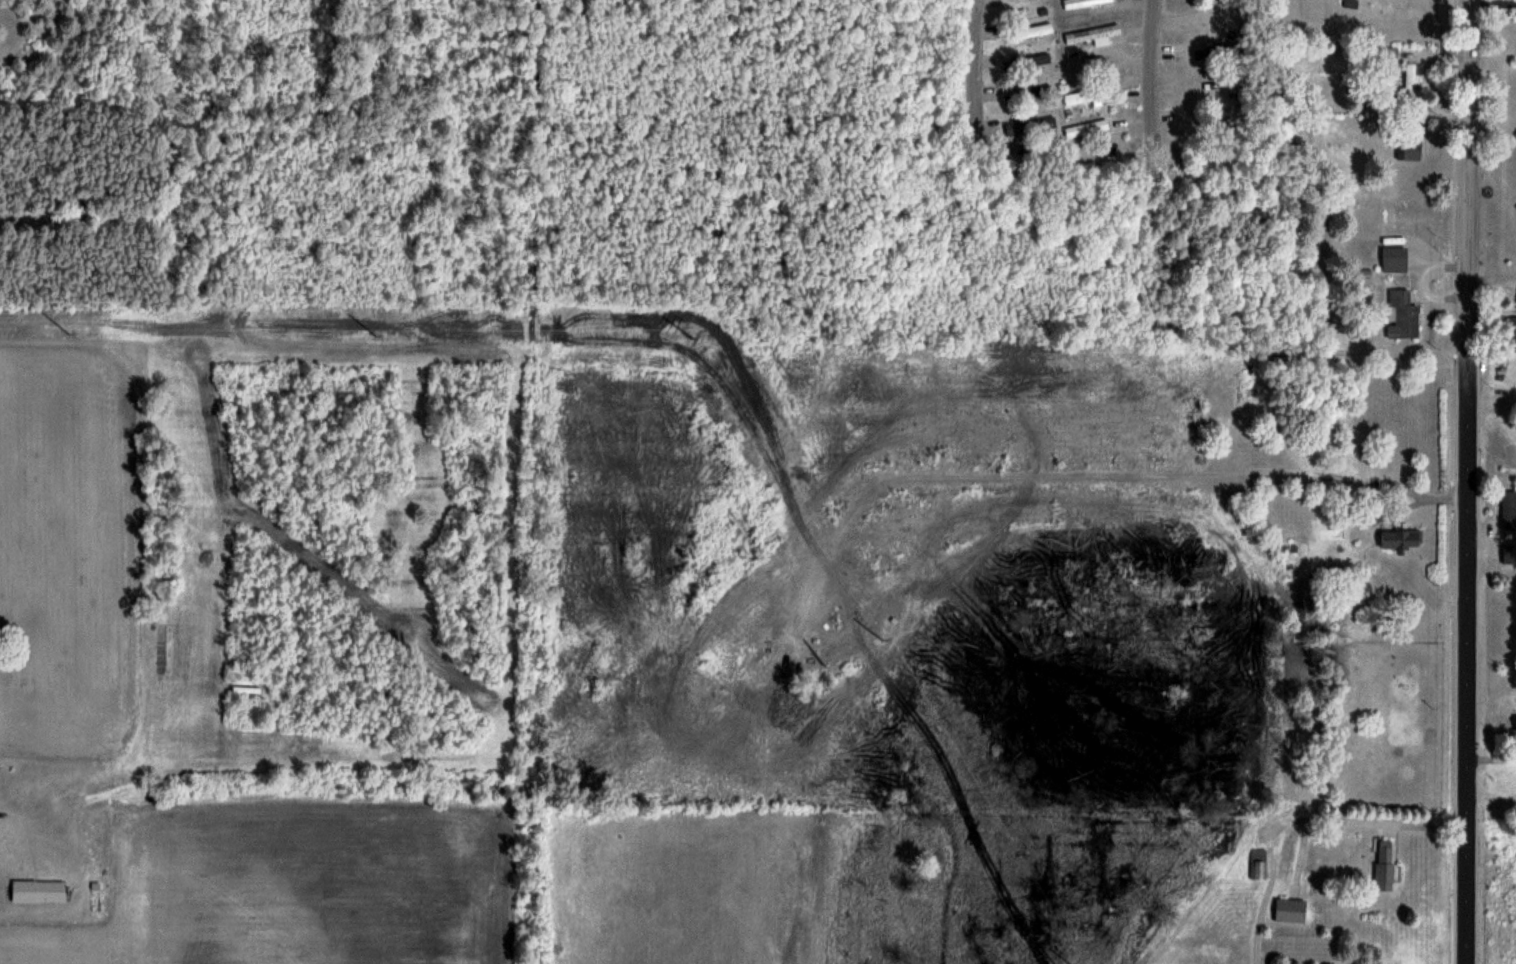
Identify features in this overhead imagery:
building: (1084, 3)
road: (1492, 3)
building: (1030, 32)
building: (1088, 35)
building: (1387, 52)
road: (974, 69)
road: (1149, 69)
building: (1409, 84)
building: (1085, 96)
building: (1030, 126)
building: (1086, 128)
building: (1410, 150)
building: (1392, 258)
building: (1401, 313)
building: (1510, 328)
power tower: (72, 334)
power tower: (375, 335)
power tower: (694, 336)
road: (1466, 481)
building: (1508, 509)
building: (1397, 538)
power tower: (885, 640)
building: (1515, 731)
building: (1258, 863)
building: (1383, 864)
building: (37, 890)
building: (1289, 909)

